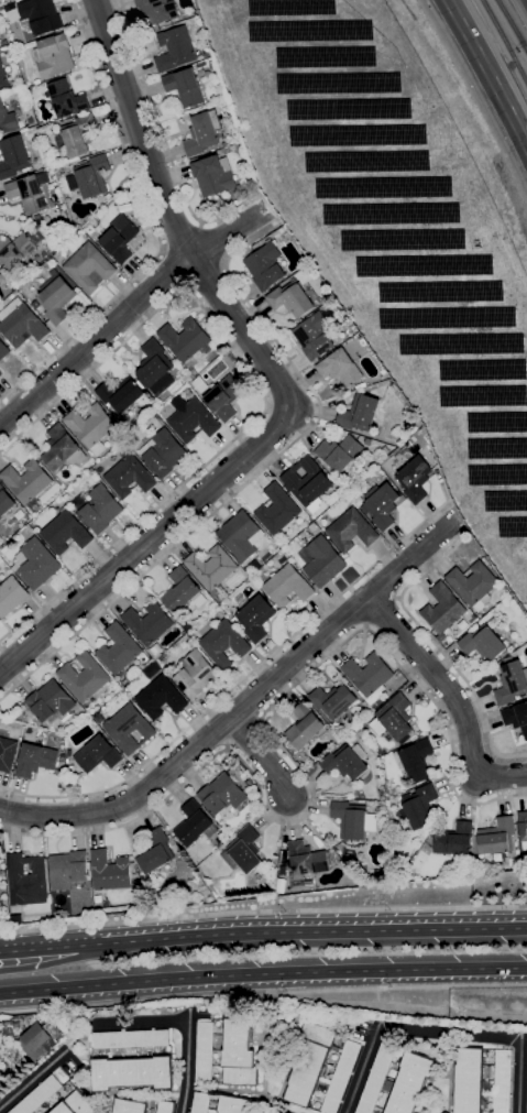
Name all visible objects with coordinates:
building: (157, 11)
building: (40, 18)
building: (168, 23)
railway: (512, 24)
railway: (505, 41)
building: (176, 48)
building: (55, 55)
building: (202, 64)
road: (487, 73)
building: (3, 77)
building: (185, 86)
building: (68, 98)
building: (8, 119)
building: (204, 132)
building: (78, 135)
road: (166, 143)
building: (224, 143)
building: (14, 156)
building: (215, 175)
building: (92, 176)
building: (252, 178)
building: (30, 192)
building: (103, 200)
road: (153, 228)
building: (89, 230)
solar farm: (393, 232)
road: (180, 234)
building: (120, 238)
road: (213, 242)
building: (15, 249)
building: (266, 265)
building: (90, 266)
road: (172, 269)
building: (304, 269)
road: (206, 275)
building: (2, 277)
building: (56, 296)
building: (292, 298)
building: (36, 304)
road: (130, 310)
building: (22, 323)
building: (315, 336)
building: (187, 339)
building: (3, 349)
building: (156, 367)
building: (340, 368)
building: (1, 372)
building: (193, 372)
road: (279, 383)
road: (261, 392)
building: (122, 394)
building: (226, 396)
building: (360, 412)
building: (113, 414)
building: (194, 419)
building: (92, 426)
building: (369, 440)
building: (62, 448)
building: (164, 452)
building: (340, 452)
building: (130, 474)
road: (253, 478)
building: (415, 478)
building: (29, 482)
building: (308, 482)
building: (6, 501)
building: (380, 504)
building: (101, 509)
building: (278, 509)
building: (352, 530)
building: (67, 532)
building: (241, 535)
building: (264, 537)
building: (321, 560)
building: (36, 563)
building: (245, 567)
building: (212, 569)
building: (287, 583)
building: (473, 585)
building: (183, 591)
building: (11, 596)
building: (442, 608)
building: (255, 618)
building: (147, 622)
building: (223, 643)
building: (483, 643)
road: (437, 647)
building: (118, 648)
building: (194, 673)
building: (84, 676)
building: (369, 676)
building: (512, 680)
road: (237, 683)
building: (160, 697)
road: (453, 698)
building: (333, 700)
building: (51, 702)
road: (244, 706)
building: (516, 717)
building: (394, 718)
building: (305, 725)
building: (129, 728)
road: (286, 752)
building: (7, 753)
building: (98, 754)
road: (256, 759)
building: (35, 760)
building: (415, 760)
building: (345, 761)
building: (222, 794)
building: (419, 806)
building: (350, 819)
building: (195, 823)
building: (523, 823)
building: (497, 836)
building: (453, 839)
building: (154, 850)
building: (243, 850)
building: (305, 861)
building: (68, 869)
building: (110, 870)
building: (26, 880)
building: (279, 885)
road: (263, 910)
road: (309, 931)
road: (46, 947)
road: (48, 962)
road: (263, 973)
road: (263, 993)
road: (387, 1005)
road: (187, 1021)
road: (443, 1033)
road: (80, 1036)
road: (524, 1037)
building: (40, 1040)
building: (205, 1051)
building: (239, 1052)
building: (131, 1060)
building: (309, 1062)
road: (14, 1073)
building: (341, 1076)
road: (34, 1078)
building: (376, 1078)
building: (482, 1081)
building: (410, 1082)
building: (39, 1095)
building: (201, 1102)
building: (75, 1103)
building: (234, 1105)
building: (131, 1106)
building: (165, 1106)
building: (526, 1109)

